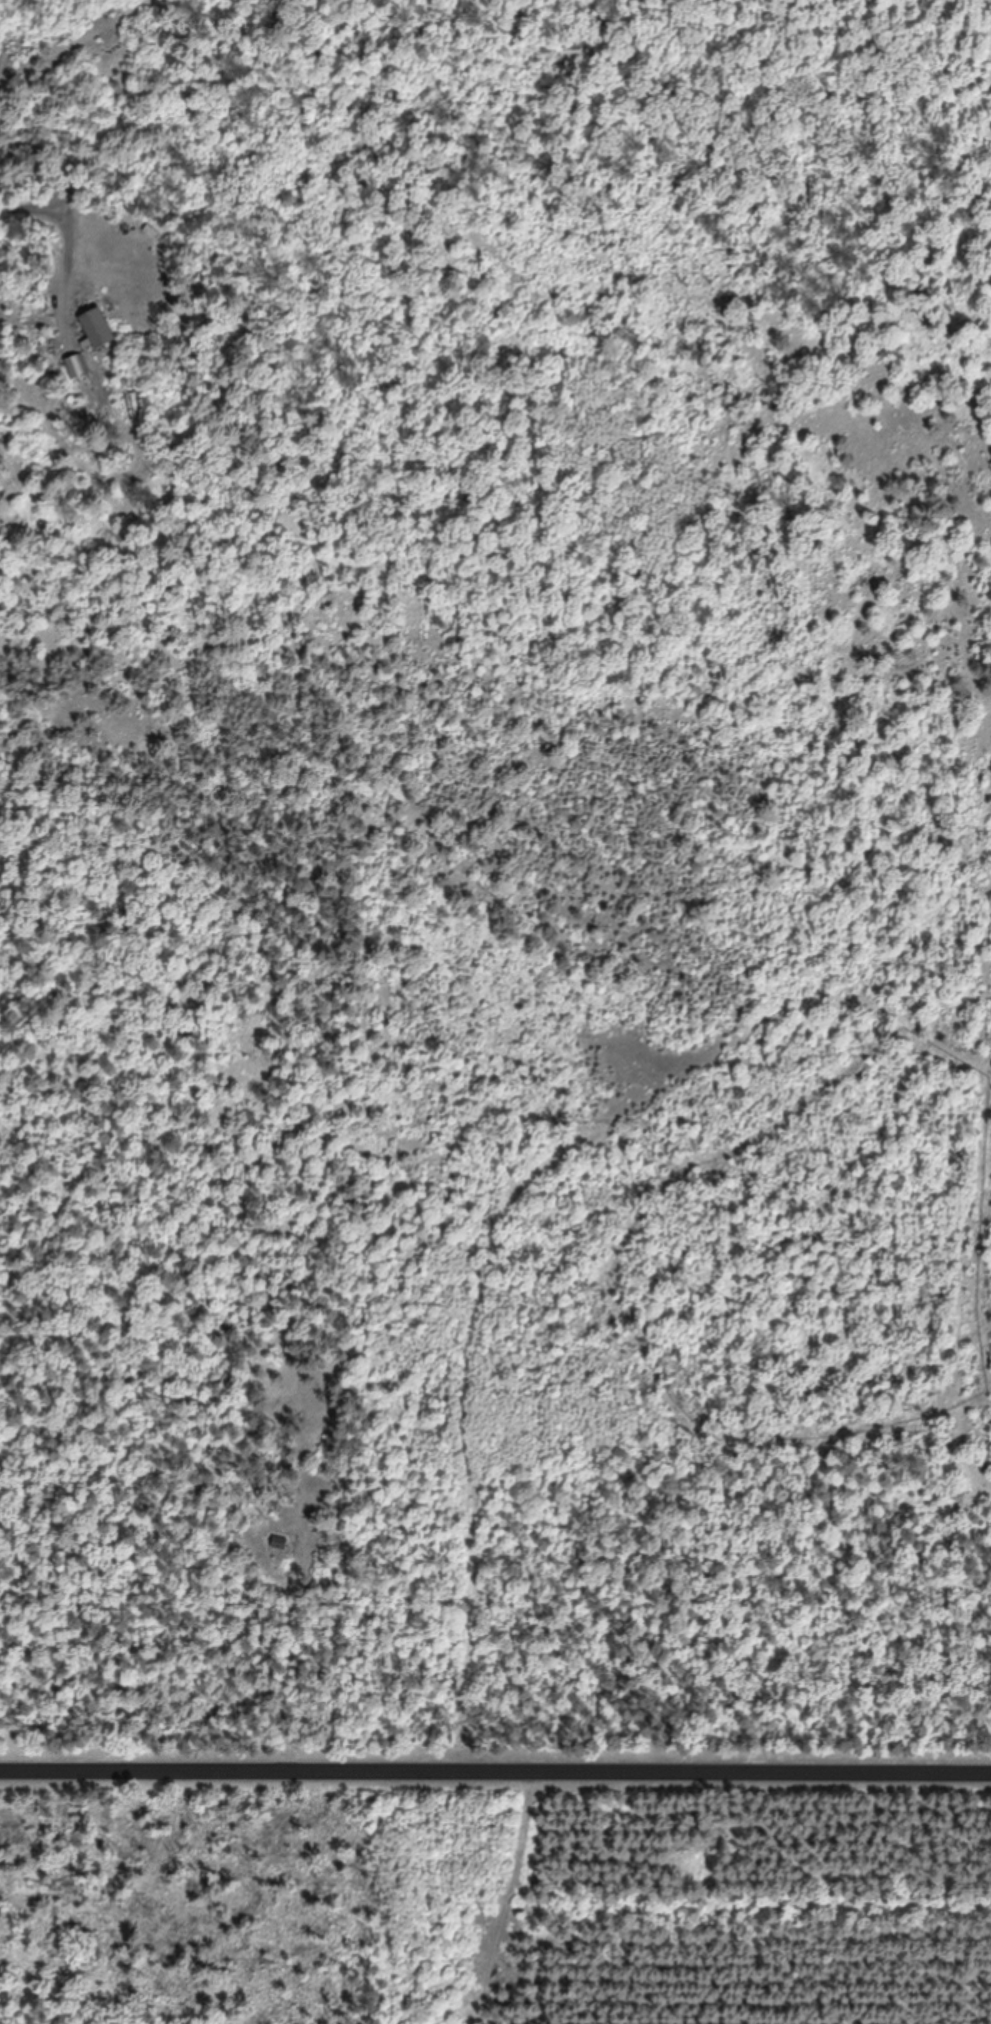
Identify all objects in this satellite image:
road: (30, 323)
building: (100, 327)
building: (281, 1543)
road: (495, 1756)
road: (516, 1896)

